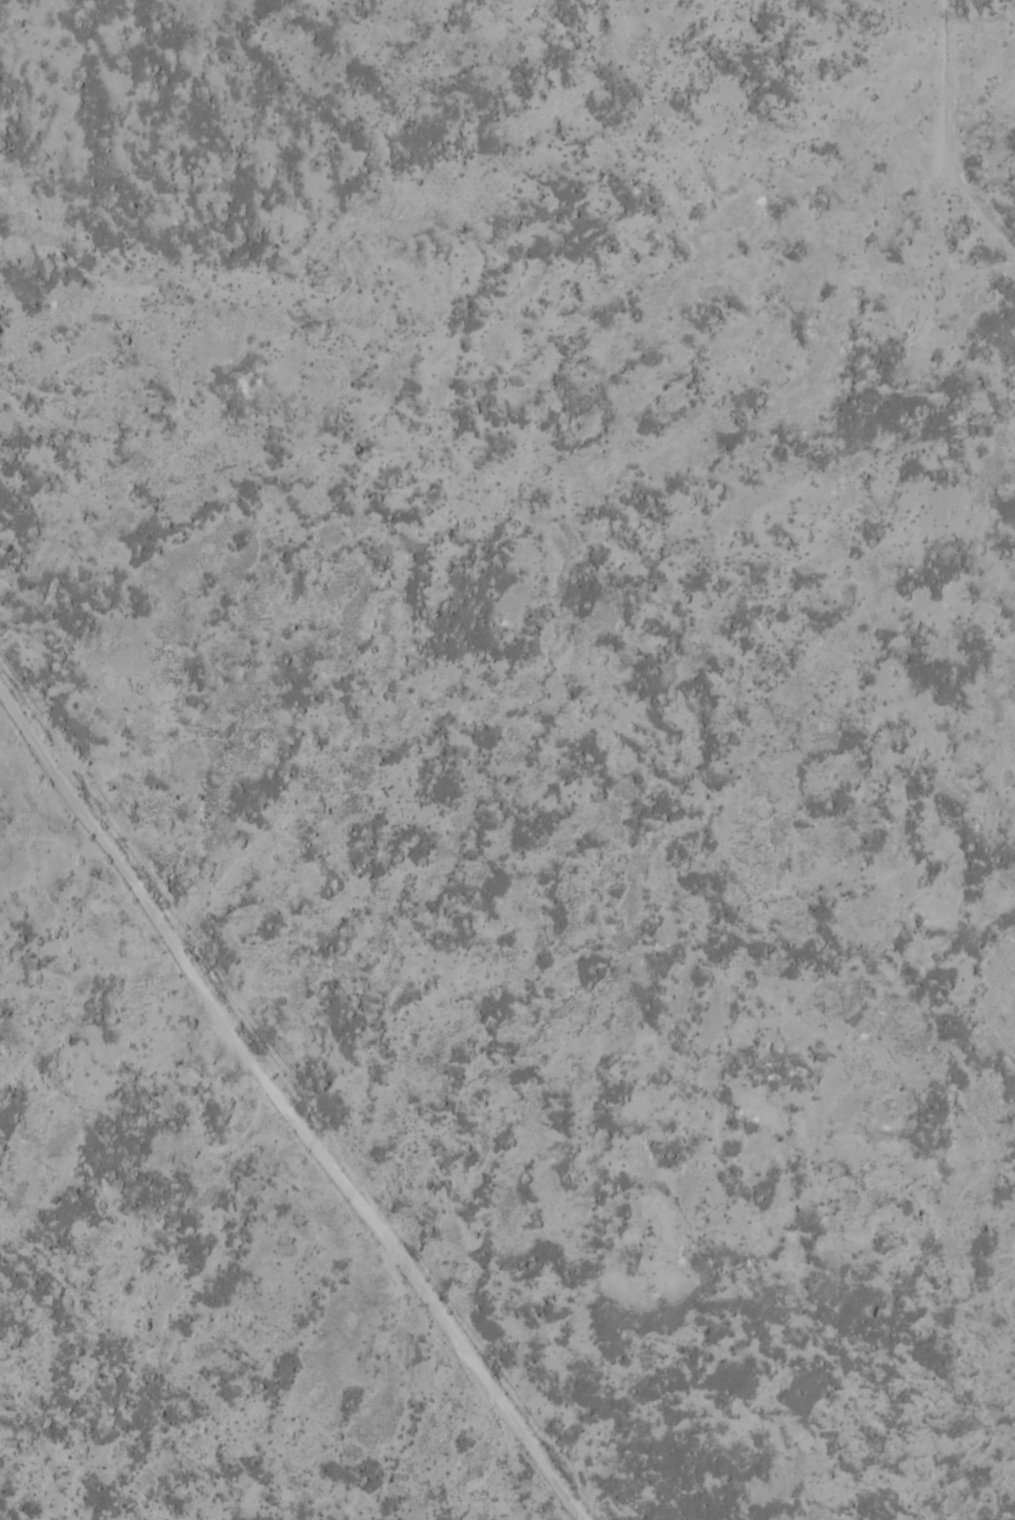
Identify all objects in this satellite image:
road: (292, 1101)

